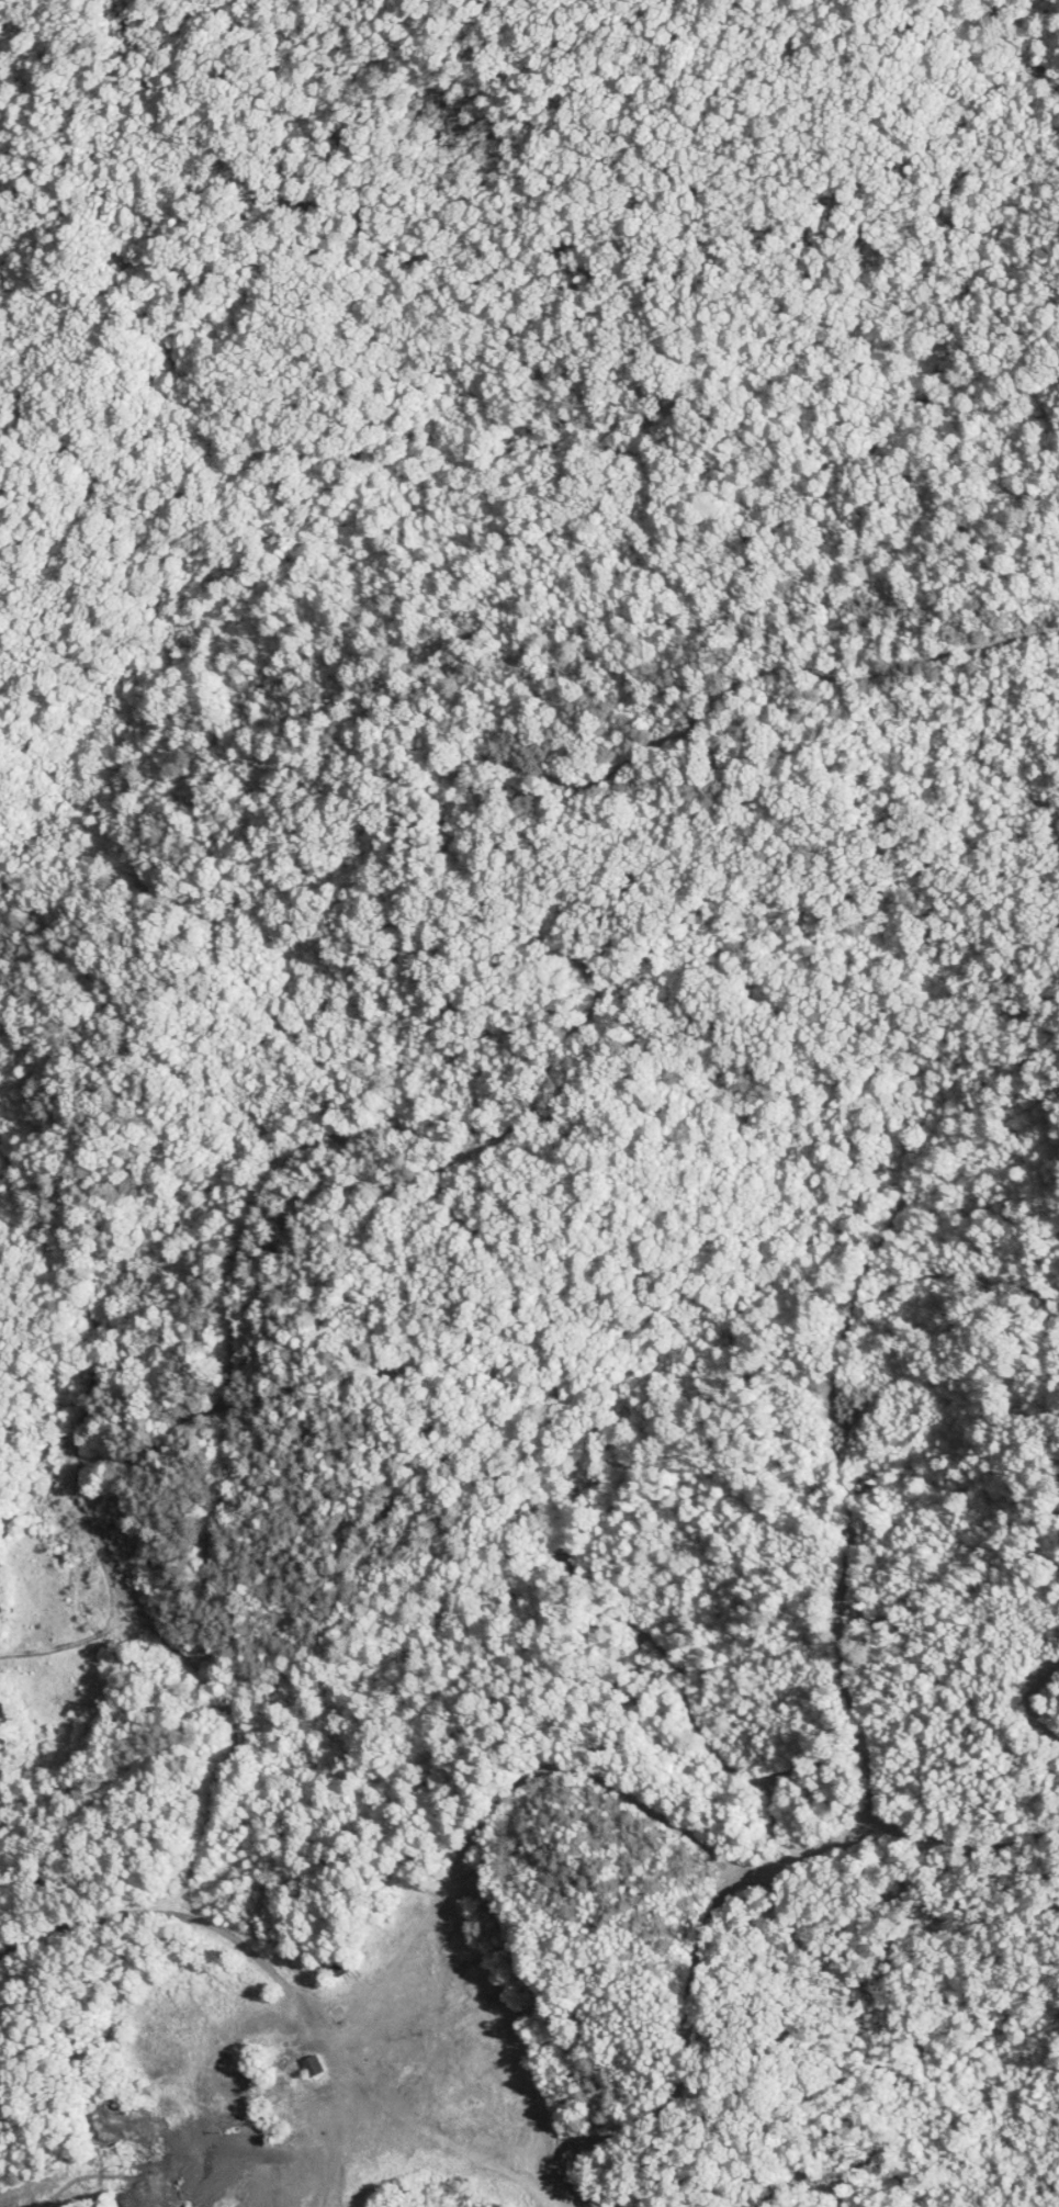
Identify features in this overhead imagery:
road: (192, 1917)
building: (307, 2065)

